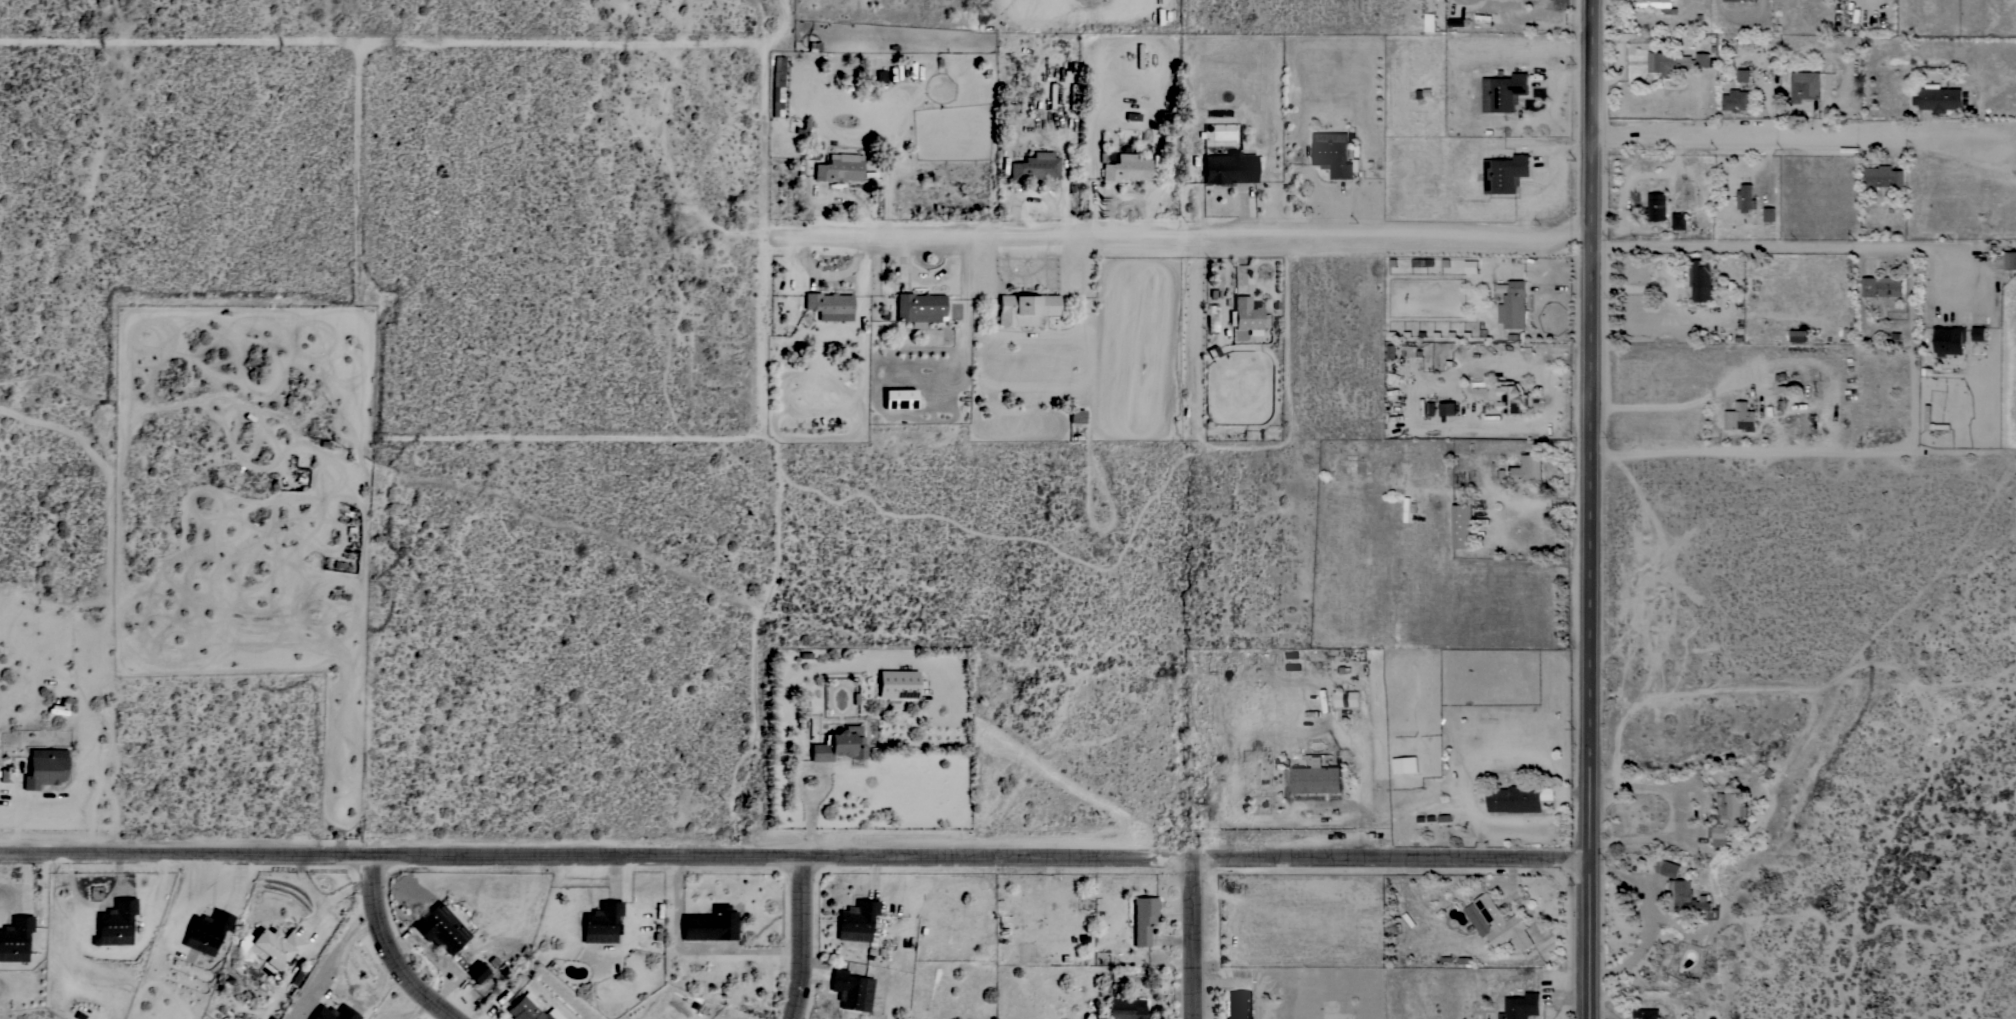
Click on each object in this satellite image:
building: (1739, 0)
building: (1658, 5)
road: (787, 16)
road: (796, 33)
building: (1850, 45)
building: (1675, 62)
building: (1744, 75)
building: (1805, 86)
building: (1503, 92)
building: (1051, 95)
building: (1072, 96)
building: (1939, 98)
building: (1736, 100)
road: (1805, 137)
building: (1333, 154)
building: (1106, 157)
building: (1034, 166)
building: (1230, 167)
road: (1768, 167)
building: (839, 168)
building: (1126, 168)
building: (1505, 173)
building: (1883, 176)
building: (1745, 198)
building: (1656, 207)
building: (1769, 214)
building: (1679, 220)
road: (1180, 231)
road: (360, 238)
road: (764, 238)
road: (1795, 247)
building: (2010, 260)
building: (1423, 262)
building: (1471, 266)
building: (1700, 279)
building: (1869, 286)
building: (1890, 286)
building: (829, 305)
building: (1513, 305)
building: (919, 308)
building: (1025, 308)
building: (1246, 314)
building: (1978, 333)
building: (1798, 336)
building: (1949, 340)
building: (1409, 350)
building: (1782, 389)
building: (1511, 397)
building: (899, 398)
road: (1678, 408)
building: (1449, 409)
building: (1927, 414)
building: (1076, 416)
building: (1740, 417)
road: (562, 436)
road: (1757, 450)
building: (1528, 468)
building: (1407, 509)
road: (1596, 509)
building: (1462, 526)
building: (897, 683)
building: (1350, 699)
building: (838, 745)
building: (1405, 765)
building: (45, 767)
building: (1316, 778)
road: (797, 779)
building: (1518, 798)
building: (1729, 816)
road: (797, 851)
building: (1668, 868)
building: (1690, 899)
road: (1534, 917)
building: (1143, 919)
building: (855, 920)
building: (115, 922)
building: (601, 922)
building: (1497, 923)
building: (709, 924)
building: (440, 928)
building: (206, 931)
road: (804, 935)
building: (15, 938)
road: (1196, 938)
building: (274, 946)
road: (692, 947)
road: (390, 948)
building: (476, 971)
road: (336, 980)
building: (851, 990)
building: (1240, 1005)
building: (1521, 1006)
building: (529, 1009)
building: (1125, 1009)
building: (333, 1013)
road: (1606, 1013)
building: (1647, 1013)

